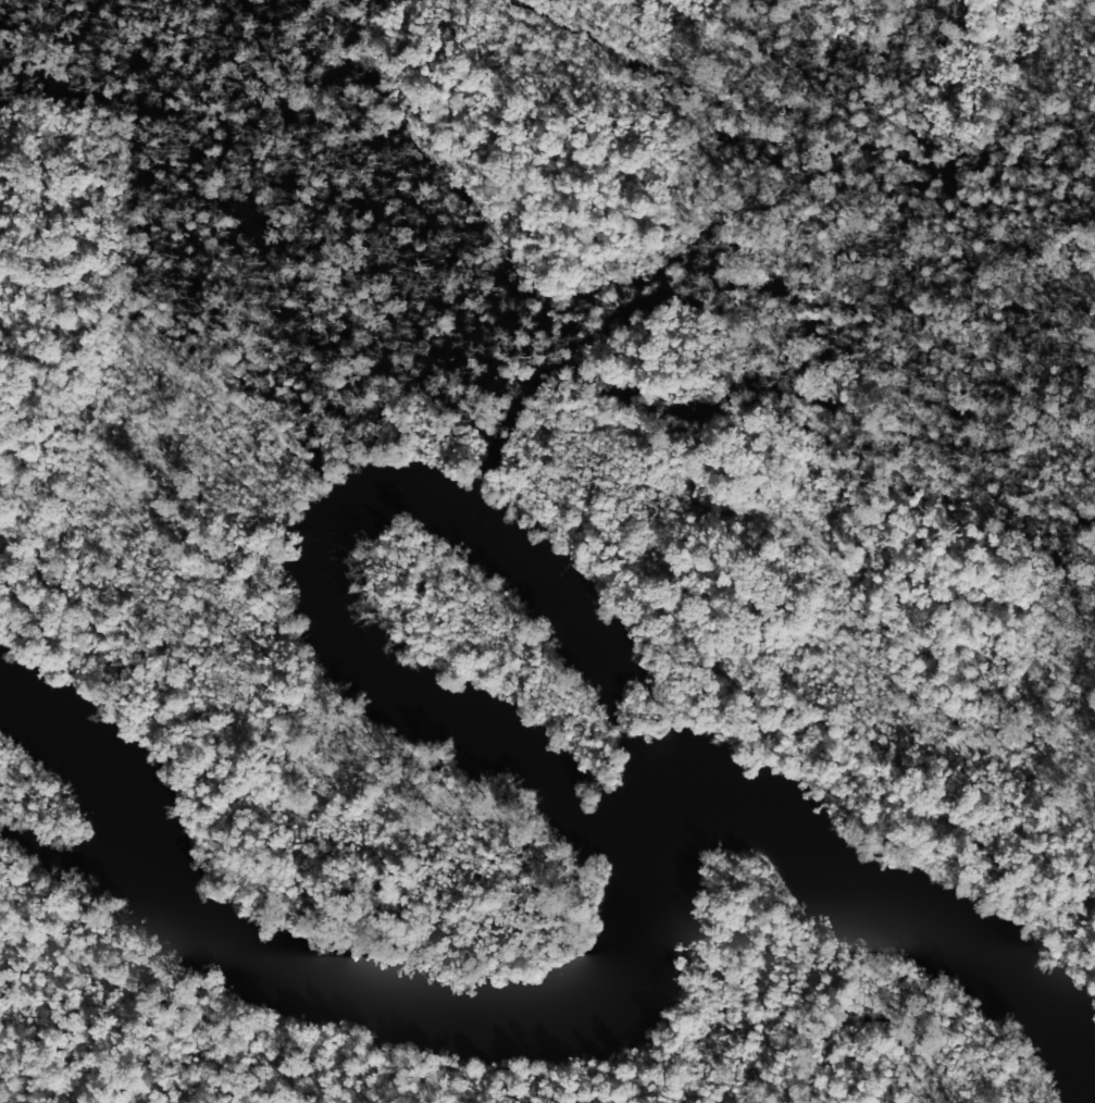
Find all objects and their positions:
river: (578, 1003)

